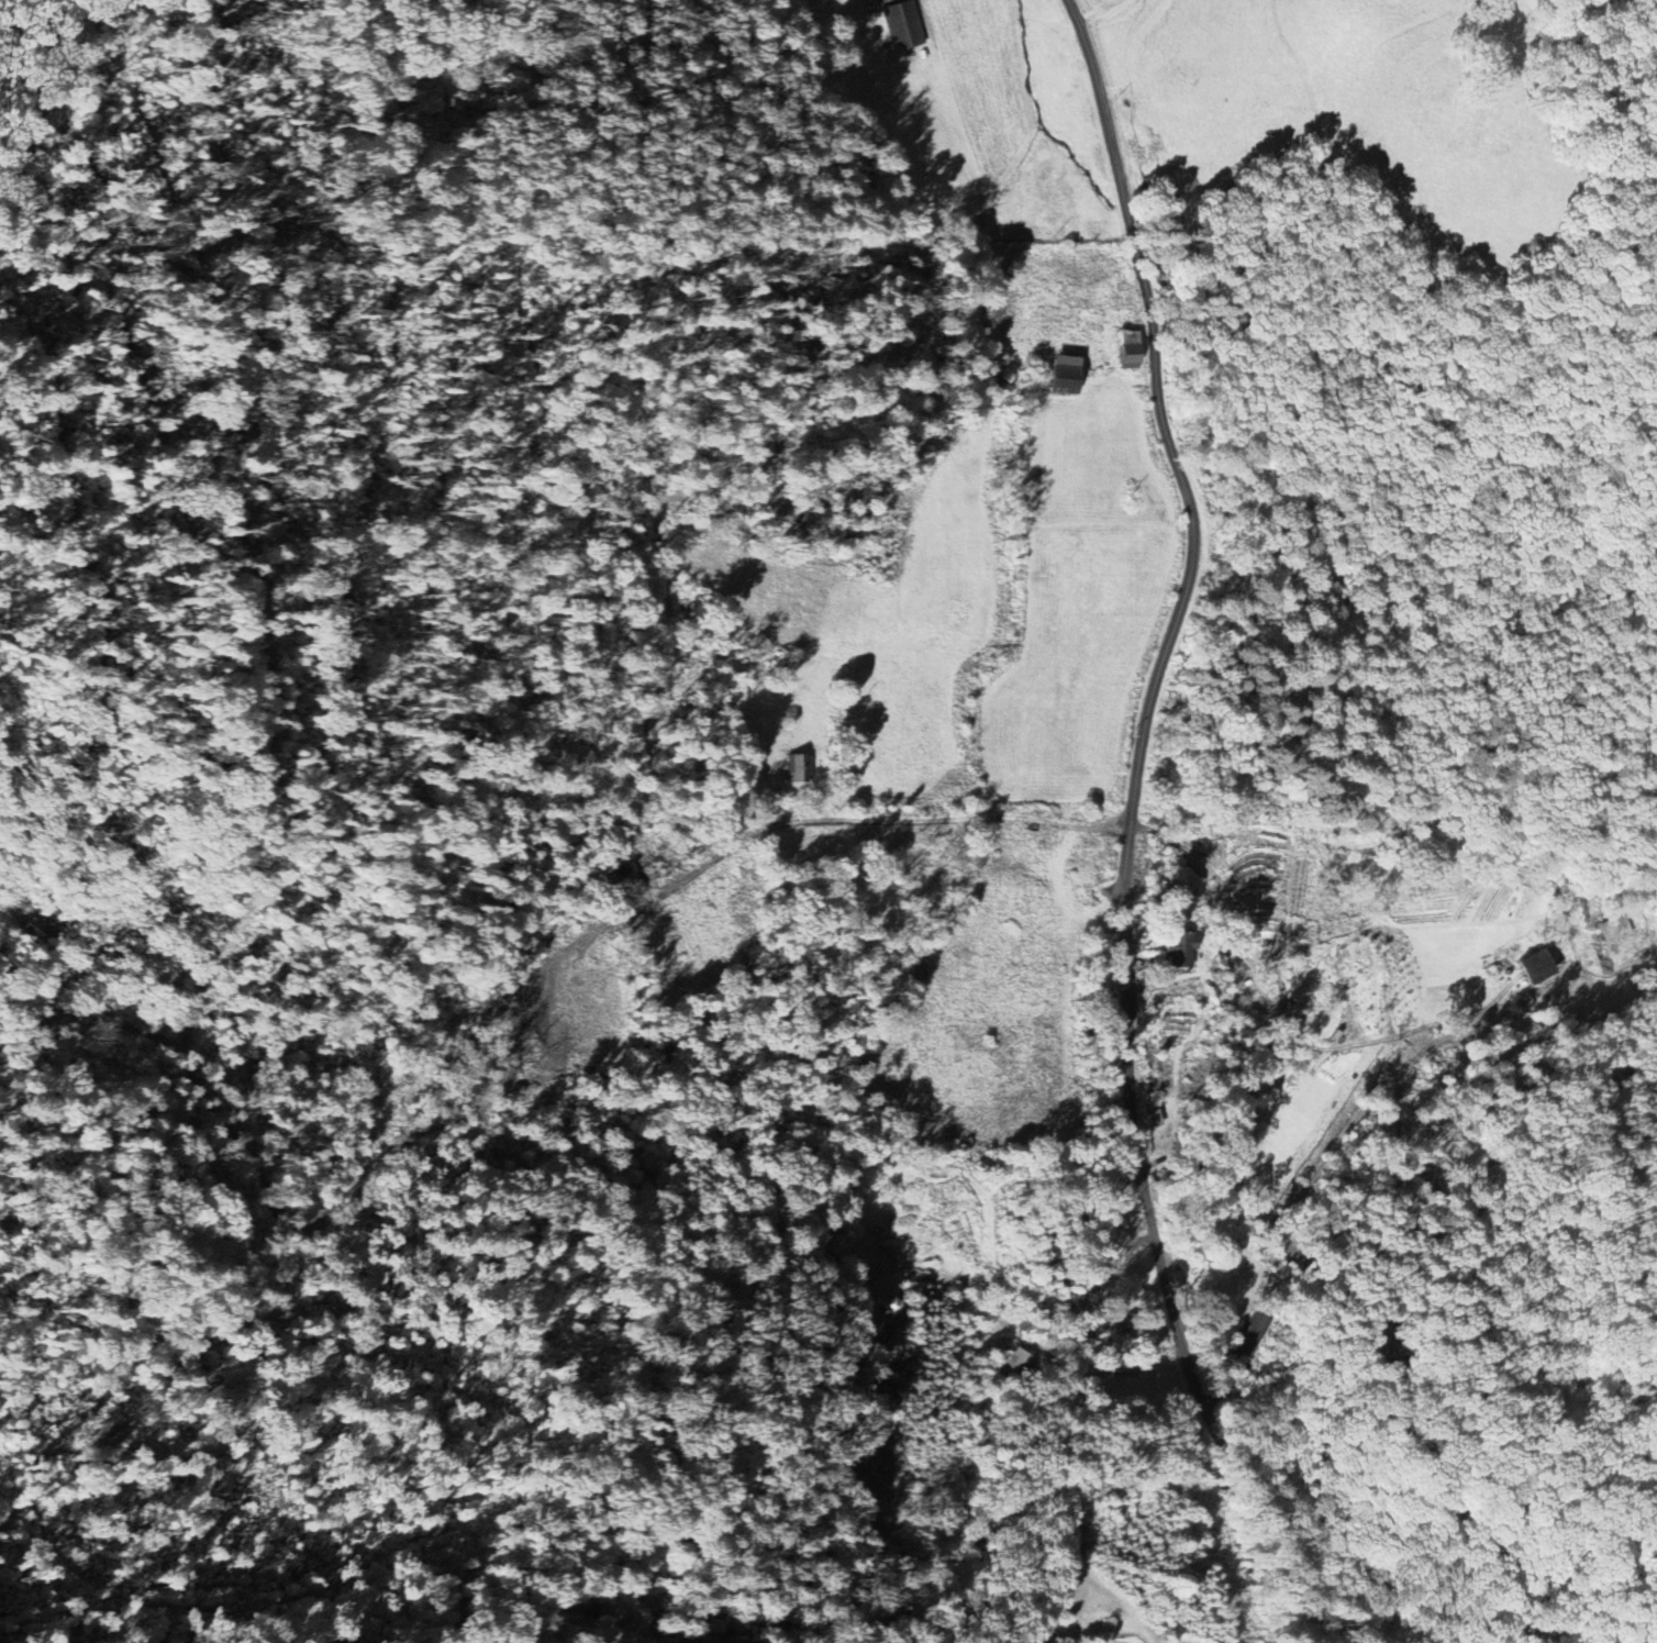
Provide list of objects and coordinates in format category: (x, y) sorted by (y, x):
building: (901, 25)
road: (1111, 144)
building: (1127, 353)
building: (1063, 375)
road: (1191, 555)
building: (797, 767)
building: (616, 874)
building: (1614, 929)
building: (1179, 948)
building: (1534, 966)
road: (1286, 1019)
road: (1131, 1069)
building: (1175, 1279)
road: (1026, 1308)
building: (1011, 1366)
road: (1246, 1481)

